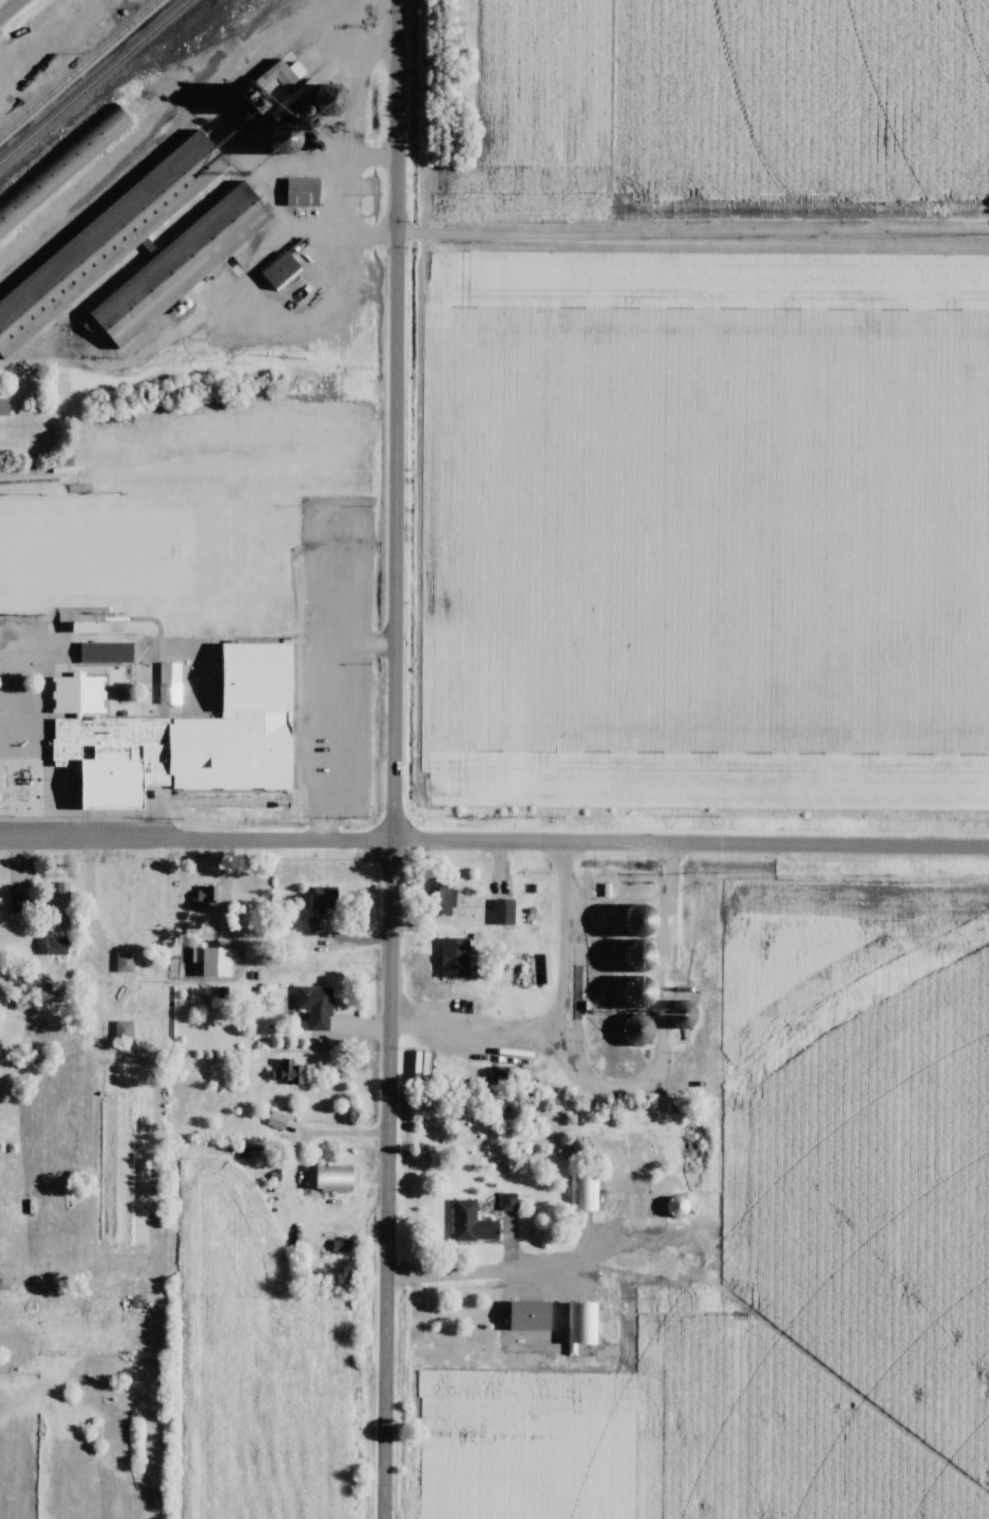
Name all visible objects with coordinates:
road: (9, 7)
building: (45, 60)
railway: (80, 70)
building: (283, 75)
railway: (93, 80)
building: (329, 92)
crop: (740, 99)
building: (294, 142)
building: (63, 166)
building: (303, 191)
road: (694, 235)
building: (106, 238)
building: (183, 263)
building: (281, 270)
road: (203, 311)
building: (4, 405)
road: (398, 422)
park: (113, 553)
building: (85, 627)
building: (107, 651)
road: (330, 673)
road: (197, 842)
road: (691, 844)
building: (446, 896)
building: (203, 897)
road: (96, 898)
building: (61, 902)
building: (322, 905)
building: (15, 906)
building: (503, 912)
building: (640, 955)
building: (455, 958)
building: (124, 962)
building: (641, 995)
building: (314, 1008)
building: (684, 1016)
road: (564, 1017)
building: (32, 1021)
building: (123, 1030)
building: (637, 1030)
road: (471, 1045)
building: (427, 1070)
building: (287, 1073)
building: (278, 1120)
building: (330, 1179)
road: (390, 1181)
building: (584, 1188)
building: (508, 1201)
building: (678, 1207)
building: (472, 1223)
crop: (799, 1247)
road: (475, 1273)
building: (136, 1307)
building: (531, 1315)
building: (582, 1322)
crop: (254, 1364)

